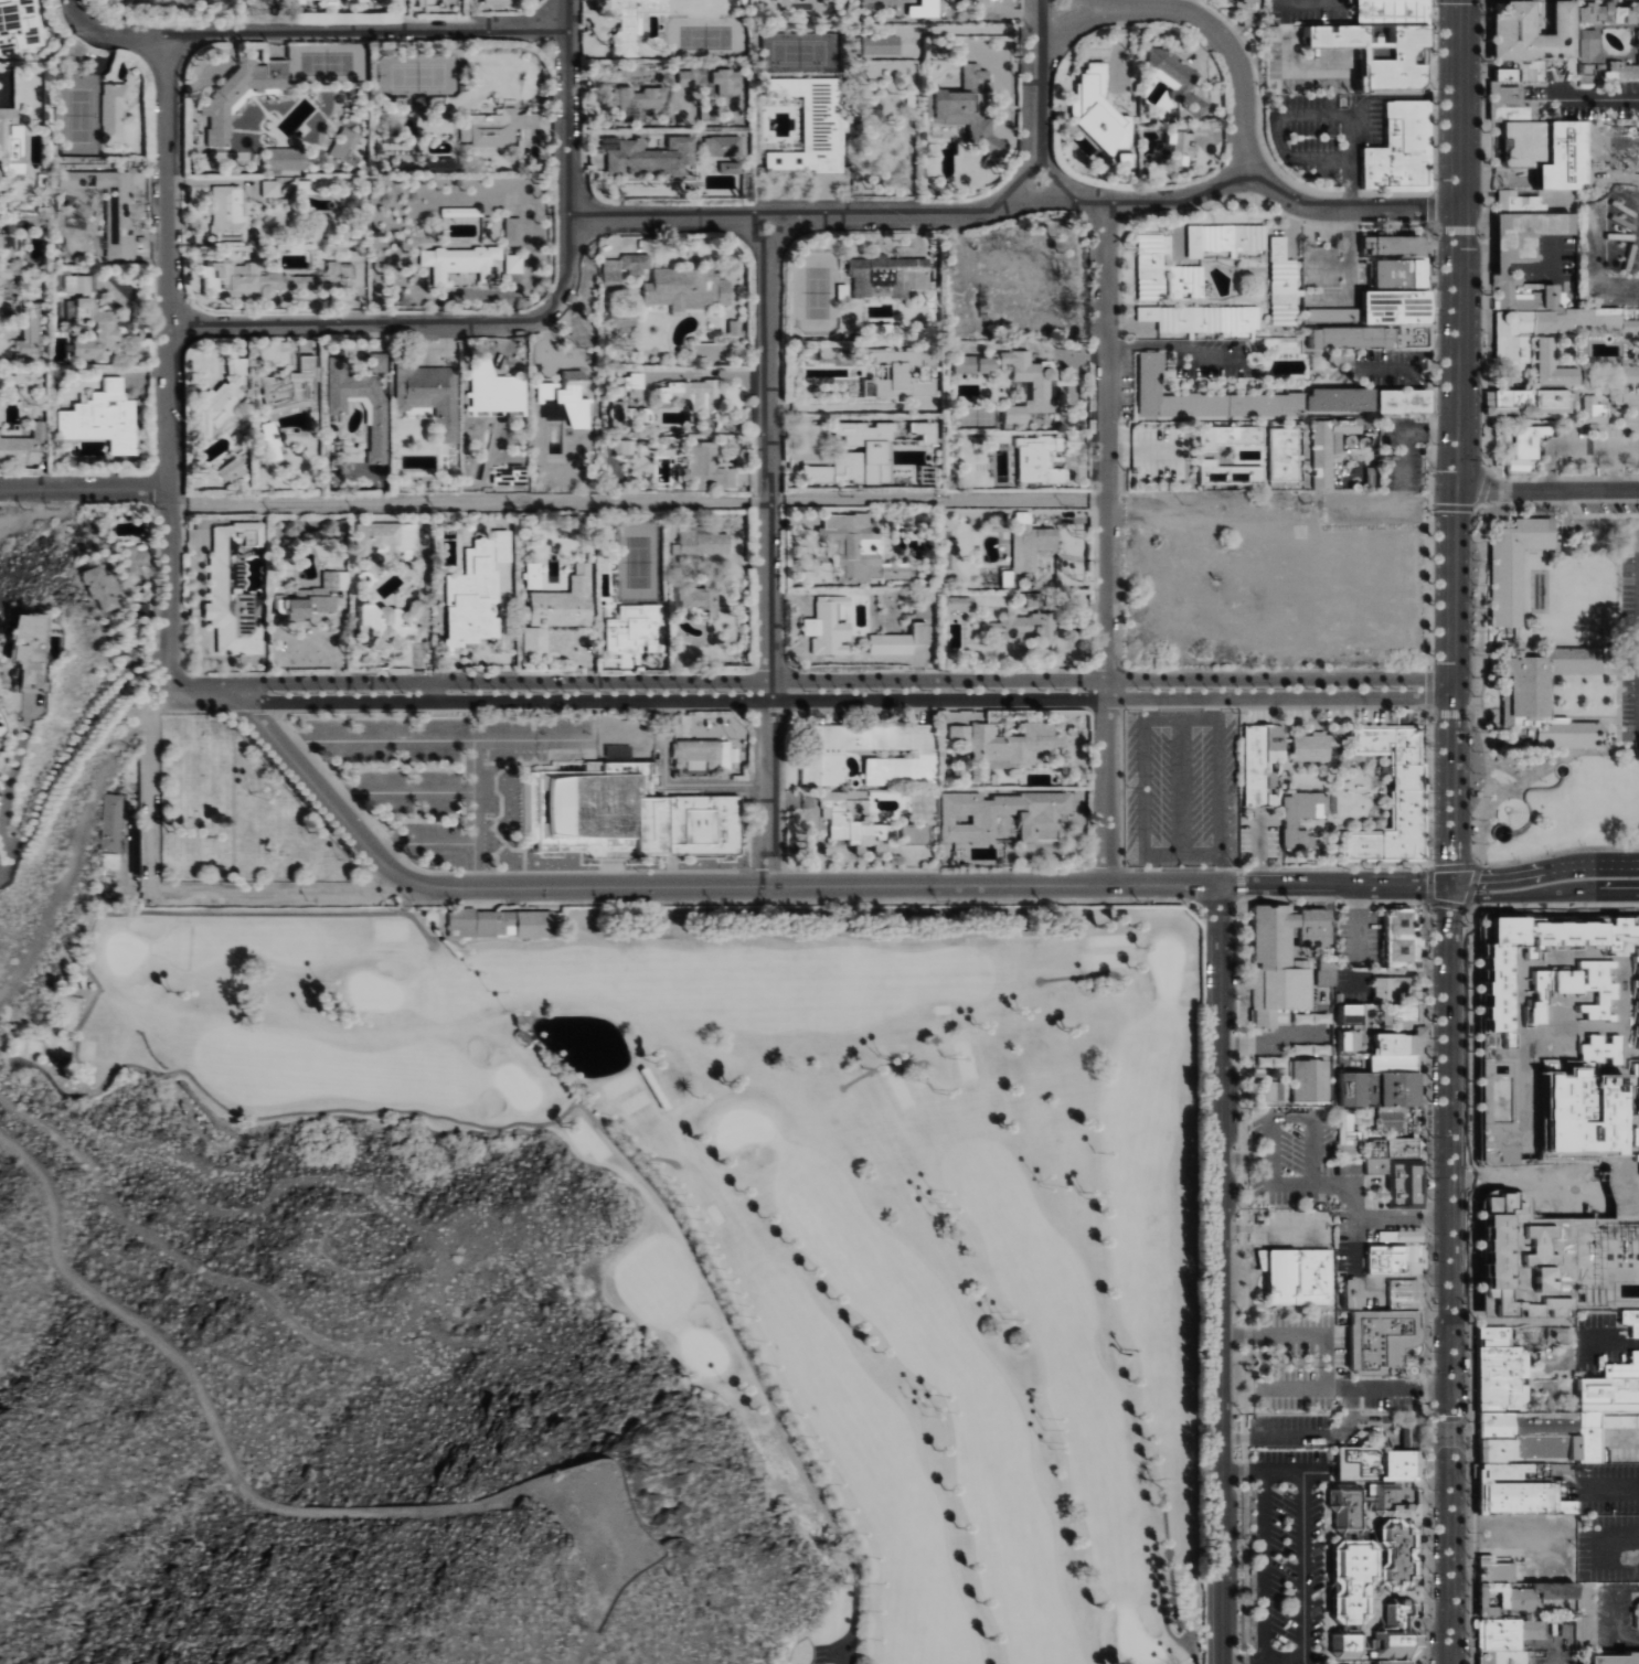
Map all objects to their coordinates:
building: (497, 1)
building: (1248, 1)
road: (1092, 3)
road: (1195, 19)
building: (630, 22)
building: (18, 26)
road: (970, 28)
building: (1536, 30)
road: (364, 31)
road: (106, 33)
building: (1376, 41)
building: (882, 44)
building: (688, 77)
building: (1178, 78)
building: (241, 93)
road: (1039, 93)
building: (637, 98)
road: (1598, 98)
road: (567, 109)
building: (1099, 109)
building: (115, 110)
building: (975, 113)
road: (1307, 114)
building: (409, 124)
building: (813, 124)
building: (492, 127)
building: (1541, 138)
building: (12, 142)
building: (348, 143)
building: (1183, 145)
building: (725, 151)
building: (1396, 152)
building: (231, 154)
building: (653, 154)
building: (287, 160)
building: (443, 163)
building: (272, 188)
road: (1142, 202)
building: (110, 204)
road: (1344, 210)
building: (228, 211)
road: (806, 220)
building: (1528, 225)
road: (1596, 228)
building: (514, 231)
building: (1226, 238)
road: (1349, 255)
building: (1399, 258)
building: (461, 262)
building: (637, 262)
building: (514, 263)
building: (1152, 264)
building: (613, 270)
building: (9, 271)
building: (890, 275)
building: (278, 278)
building: (1186, 280)
building: (1284, 282)
building: (689, 287)
building: (1398, 306)
building: (1329, 313)
building: (89, 316)
building: (1543, 317)
building: (1204, 318)
road: (408, 326)
building: (735, 327)
building: (1354, 335)
road: (1173, 343)
building: (976, 363)
road: (167, 364)
building: (1553, 364)
building: (241, 365)
road: (1419, 370)
road: (724, 372)
building: (902, 374)
building: (1624, 381)
building: (496, 387)
building: (1042, 390)
building: (565, 391)
building: (693, 393)
building: (362, 395)
building: (432, 395)
building: (1242, 397)
building: (1406, 401)
building: (1529, 401)
road: (841, 406)
building: (1595, 412)
building: (619, 413)
building: (639, 415)
building: (104, 417)
building: (1230, 435)
road: (1411, 435)
building: (1530, 439)
building: (273, 440)
road: (1105, 441)
road: (1455, 442)
building: (23, 445)
building: (626, 446)
building: (1327, 449)
road: (1140, 452)
building: (1285, 452)
building: (859, 456)
building: (1039, 460)
building: (707, 468)
building: (233, 469)
road: (83, 488)
traffic signals: (1455, 489)
road: (1546, 489)
road: (466, 499)
road: (20, 509)
building: (1032, 541)
building: (705, 542)
building: (860, 546)
road: (765, 555)
building: (136, 558)
building: (1510, 566)
building: (1009, 578)
building: (102, 586)
building: (234, 589)
building: (478, 590)
building: (317, 597)
building: (701, 599)
building: (960, 601)
building: (560, 609)
building: (1025, 622)
building: (392, 623)
building: (829, 626)
building: (637, 629)
building: (922, 632)
building: (892, 642)
building: (29, 646)
parking lot: (1630, 648)
park: (1554, 678)
road: (843, 681)
road: (425, 693)
road: (203, 694)
road: (845, 701)
building: (1543, 702)
road: (160, 704)
road: (1150, 710)
road: (1213, 710)
road: (1145, 722)
road: (464, 742)
building: (1002, 744)
building: (1309, 749)
building: (826, 753)
building: (703, 754)
building: (1260, 766)
parking lot: (461, 768)
road: (1105, 783)
parking lot: (1180, 788)
road: (1181, 788)
road: (320, 792)
road: (398, 793)
building: (1404, 799)
road: (151, 804)
park: (233, 814)
building: (620, 815)
building: (1300, 819)
building: (848, 820)
building: (969, 820)
building: (114, 823)
fountain: (1500, 833)
road: (469, 842)
road: (1558, 851)
road: (73, 852)
road: (1331, 867)
road: (1223, 871)
road: (1544, 871)
road: (1152, 872)
traffic signals: (1450, 885)
road: (1238, 886)
road: (801, 889)
road: (1543, 894)
road: (1333, 899)
road: (1427, 902)
road: (1552, 904)
building: (502, 922)
building: (1577, 931)
building: (1402, 939)
building: (1637, 952)
building: (1280, 960)
building: (1323, 972)
building: (1546, 978)
building: (1503, 984)
building: (1592, 984)
building: (1391, 991)
building: (1350, 1016)
building: (1402, 1018)
building: (1309, 1020)
building: (1356, 1038)
road: (1270, 1042)
building: (1348, 1044)
building: (1398, 1045)
building: (1599, 1048)
building: (1309, 1050)
building: (1269, 1064)
building: (1392, 1064)
building: (1636, 1068)
building: (1638, 1081)
building: (1307, 1082)
building: (1376, 1090)
building: (1267, 1092)
building: (1583, 1112)
building: (1388, 1120)
road: (1274, 1121)
building: (1349, 1132)
building: (1393, 1150)
road: (1245, 1161)
building: (1398, 1182)
parking lot: (1321, 1193)
park: (794, 1197)
road: (1402, 1219)
road: (1354, 1223)
road: (1269, 1228)
building: (1397, 1236)
building: (1523, 1259)
building: (1395, 1260)
road: (1449, 1273)
road: (1218, 1276)
building: (1292, 1278)
building: (1353, 1292)
building: (1402, 1294)
building: (1560, 1333)
road: (1297, 1336)
building: (1377, 1341)
building: (1499, 1373)
parking lot: (1311, 1383)
road: (1353, 1388)
building: (1598, 1410)
building: (1523, 1426)
road: (1624, 1437)
road: (1303, 1438)
building: (1524, 1451)
building: (1376, 1464)
road: (1241, 1471)
building: (1522, 1473)
road: (238, 1475)
parking lot: (1604, 1489)
road: (1611, 1489)
building: (1521, 1498)
building: (1393, 1556)
road: (1305, 1565)
road: (1263, 1567)
building: (1493, 1571)
parking lot: (1289, 1572)
building: (1365, 1577)
building: (1514, 1598)
road: (1617, 1615)
building: (1636, 1617)
road: (852, 1621)
building: (1497, 1636)
road: (841, 1650)
building: (1503, 1657)
building: (1611, 1660)
road: (1555, 1661)
road: (1242, 1663)
parking lot: (1347, 1663)
building: (1392, 1663)

